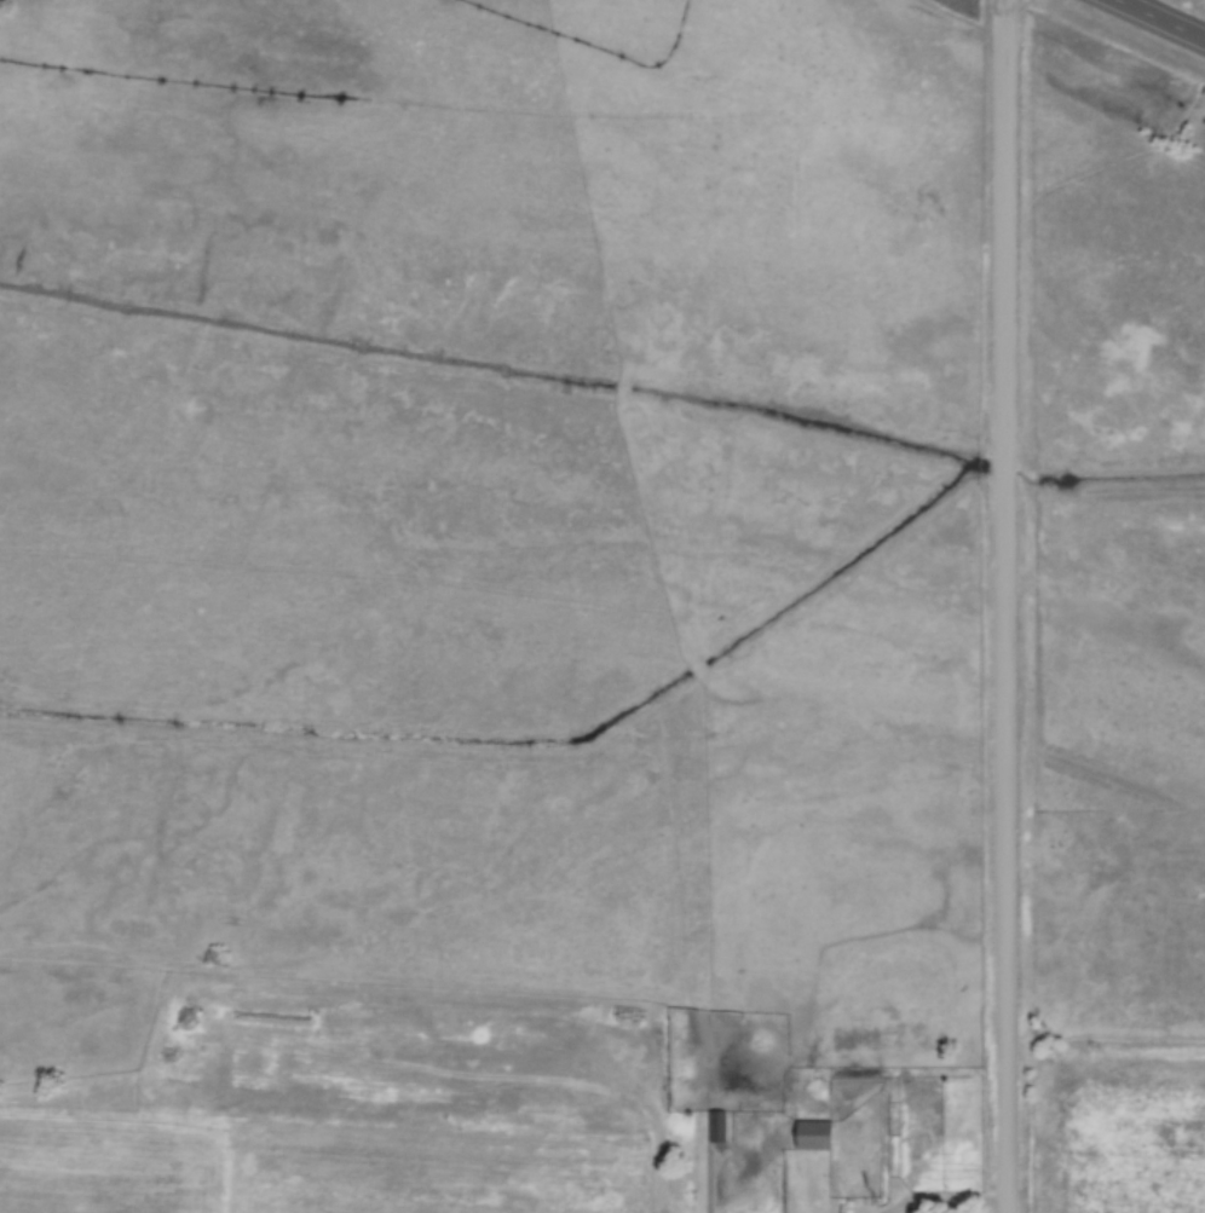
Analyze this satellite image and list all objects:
road: (1161, 19)
road: (1008, 606)
building: (720, 1125)
building: (812, 1133)

